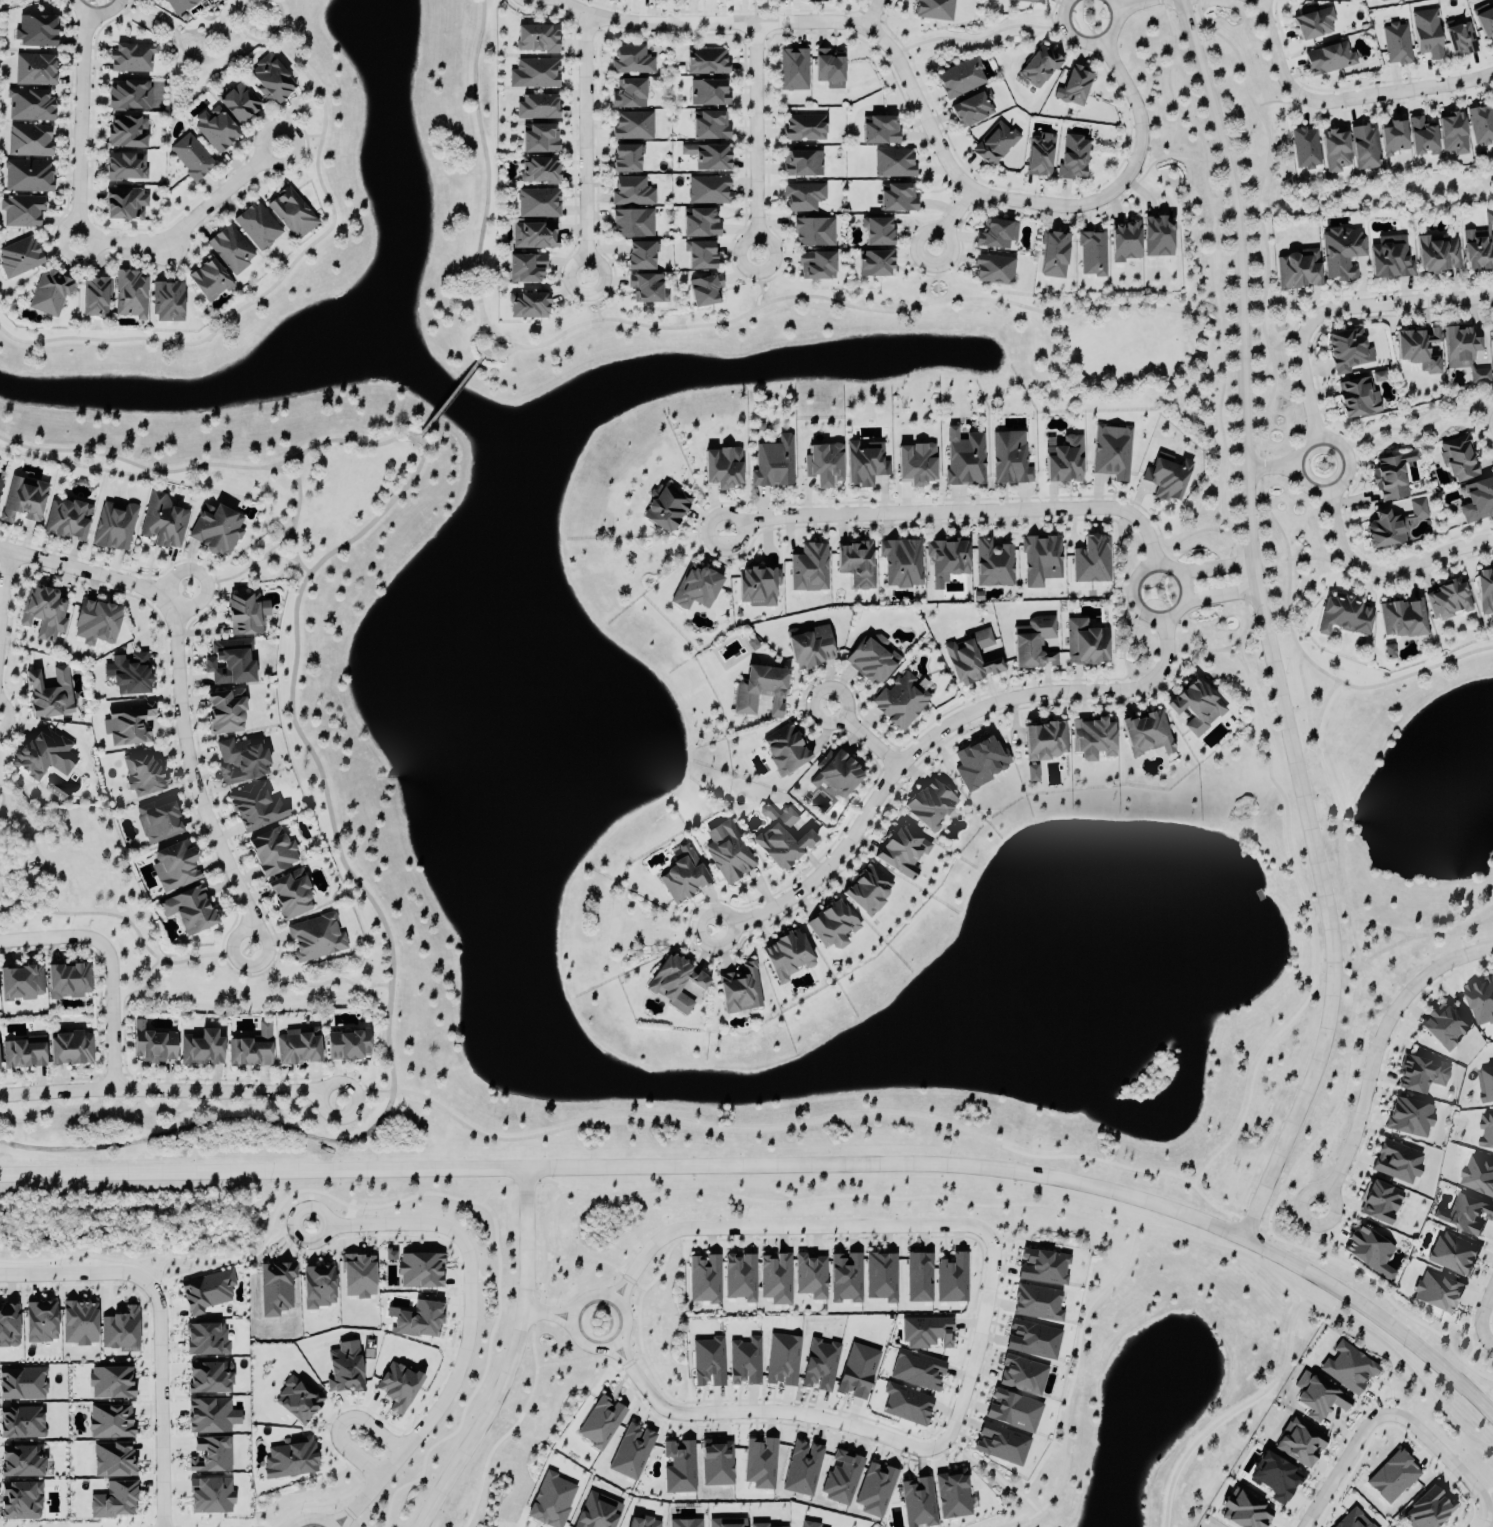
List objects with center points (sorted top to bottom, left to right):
building: (1368, 0)
building: (1383, 0)
building: (1027, 1)
road: (1182, 4)
building: (179, 5)
road: (1136, 6)
building: (933, 10)
road: (875, 14)
road: (97, 15)
building: (1485, 20)
building: (1314, 24)
building: (35, 31)
building: (1428, 34)
building: (1460, 38)
building: (536, 39)
road: (979, 39)
road: (1089, 43)
building: (1397, 44)
building: (131, 58)
building: (1329, 59)
building: (631, 61)
building: (706, 62)
building: (1039, 67)
building: (828, 69)
building: (34, 70)
building: (793, 70)
building: (534, 74)
building: (960, 79)
building: (271, 80)
building: (1074, 87)
building: (708, 93)
building: (629, 94)
building: (128, 96)
road: (1344, 100)
road: (1278, 101)
building: (237, 103)
building: (29, 106)
building: (537, 107)
road: (922, 110)
building: (971, 110)
building: (1481, 124)
building: (632, 126)
building: (710, 126)
road: (82, 127)
building: (804, 128)
building: (215, 130)
building: (879, 131)
building: (126, 132)
building: (1453, 134)
building: (1394, 138)
building: (1423, 138)
building: (539, 139)
road: (758, 140)
building: (29, 141)
building: (995, 144)
road: (588, 146)
building: (1305, 148)
building: (1365, 148)
building: (1335, 151)
building: (1039, 154)
road: (1163, 155)
building: (190, 157)
building: (707, 157)
road: (485, 158)
building: (1073, 158)
building: (625, 159)
building: (893, 163)
building: (802, 164)
building: (125, 167)
building: (539, 170)
building: (27, 176)
building: (708, 190)
building: (632, 192)
road: (1146, 195)
building: (803, 197)
building: (897, 198)
building: (124, 204)
building: (537, 204)
building: (21, 212)
building: (291, 214)
road: (954, 221)
building: (632, 223)
road: (190, 224)
building: (699, 224)
building: (257, 227)
building: (877, 231)
building: (814, 232)
building: (996, 234)
building: (533, 236)
building: (1158, 237)
building: (1125, 242)
building: (1479, 246)
building: (230, 249)
building: (1341, 253)
building: (1438, 253)
building: (1092, 254)
building: (700, 255)
building: (1054, 255)
building: (640, 256)
building: (19, 258)
building: (1391, 258)
building: (875, 264)
building: (815, 265)
building: (525, 268)
building: (993, 270)
building: (1299, 270)
road: (936, 275)
road: (758, 279)
building: (208, 281)
building: (645, 288)
building: (704, 291)
building: (48, 294)
building: (129, 295)
building: (94, 298)
road: (593, 299)
road: (1202, 299)
road: (1313, 301)
building: (167, 302)
road: (1398, 303)
road: (849, 304)
building: (528, 306)
road: (1205, 316)
road: (1299, 316)
road: (497, 334)
road: (1285, 337)
building: (1492, 339)
road: (48, 343)
building: (1420, 350)
building: (1348, 351)
building: (1464, 353)
road: (481, 354)
road: (1306, 382)
road: (450, 396)
building: (1359, 396)
road: (1261, 420)
building: (1112, 452)
building: (964, 458)
building: (1010, 459)
road: (303, 460)
building: (1458, 460)
building: (1064, 461)
road: (288, 463)
building: (773, 464)
building: (865, 464)
building: (917, 464)
building: (823, 465)
building: (722, 468)
road: (1273, 470)
road: (151, 471)
building: (1391, 477)
building: (1167, 479)
building: (0, 480)
road: (1305, 487)
building: (22, 500)
building: (1478, 501)
building: (665, 508)
building: (1418, 509)
road: (958, 515)
building: (66, 520)
building: (163, 522)
building: (113, 526)
road: (1338, 528)
building: (215, 530)
building: (1385, 531)
road: (1322, 559)
road: (285, 560)
building: (947, 561)
building: (1041, 561)
building: (1092, 561)
building: (901, 563)
road: (260, 564)
building: (993, 564)
building: (856, 565)
road: (1421, 565)
building: (809, 569)
road: (1217, 570)
road: (204, 578)
building: (758, 587)
building: (696, 588)
building: (1485, 591)
road: (5, 593)
road: (1222, 597)
building: (1448, 601)
building: (44, 613)
road: (1141, 613)
building: (245, 615)
building: (1345, 617)
building: (1402, 620)
building: (95, 623)
road: (1265, 625)
building: (878, 641)
building: (1034, 644)
building: (1085, 644)
building: (752, 645)
building: (810, 648)
building: (1389, 652)
building: (972, 659)
building: (229, 663)
building: (870, 663)
building: (128, 674)
building: (761, 691)
road: (180, 693)
building: (48, 694)
road: (298, 698)
building: (901, 701)
road: (1283, 707)
road: (1321, 707)
building: (1195, 708)
building: (225, 712)
building: (127, 725)
building: (1147, 734)
road: (867, 739)
building: (1093, 739)
road: (935, 740)
building: (1045, 742)
building: (786, 753)
building: (43, 756)
building: (239, 762)
building: (979, 764)
building: (141, 774)
building: (1032, 774)
building: (838, 775)
road: (3, 799)
building: (255, 808)
building: (929, 809)
building: (157, 821)
building: (785, 842)
building: (902, 852)
building: (272, 853)
building: (731, 859)
building: (174, 867)
road: (2, 882)
building: (682, 882)
building: (869, 893)
building: (290, 896)
building: (189, 911)
road: (13, 918)
building: (832, 927)
building: (315, 938)
road: (141, 939)
road: (1356, 951)
building: (790, 957)
road: (111, 964)
building: (67, 982)
building: (20, 984)
building: (677, 990)
building: (742, 992)
road: (392, 1001)
building: (1481, 1001)
road: (1284, 1026)
building: (1444, 1027)
building: (152, 1046)
building: (347, 1046)
building: (70, 1049)
building: (201, 1049)
building: (297, 1049)
building: (251, 1050)
road: (1374, 1051)
building: (23, 1055)
building: (1421, 1075)
building: (1485, 1085)
road: (171, 1093)
building: (1410, 1119)
building: (1486, 1130)
road: (179, 1134)
road: (782, 1161)
building: (1397, 1162)
building: (1478, 1176)
road: (546, 1180)
building: (1380, 1202)
road: (1000, 1204)
building: (1469, 1214)
road: (1331, 1226)
road: (1011, 1228)
road: (1319, 1236)
building: (1371, 1251)
building: (1453, 1254)
building: (1044, 1267)
road: (1351, 1267)
building: (419, 1270)
road: (74, 1272)
building: (357, 1276)
building: (810, 1276)
building: (740, 1277)
building: (881, 1277)
building: (845, 1278)
building: (918, 1278)
building: (704, 1279)
building: (775, 1279)
building: (952, 1279)
building: (318, 1287)
building: (275, 1288)
building: (206, 1292)
building: (1437, 1292)
building: (1037, 1303)
road: (1484, 1304)
road: (622, 1307)
road: (548, 1313)
building: (417, 1319)
road: (984, 1321)
building: (40, 1322)
building: (78, 1323)
building: (8, 1325)
road: (467, 1326)
building: (120, 1331)
building: (926, 1333)
road: (1485, 1337)
building: (205, 1339)
building: (1033, 1340)
road: (511, 1358)
building: (782, 1360)
building: (744, 1362)
building: (708, 1363)
building: (820, 1365)
building: (344, 1368)
building: (1348, 1368)
building: (917, 1370)
building: (857, 1371)
building: (1022, 1375)
building: (209, 1377)
building: (110, 1382)
building: (22, 1384)
road: (1071, 1385)
building: (398, 1387)
building: (1318, 1397)
building: (297, 1399)
road: (159, 1404)
building: (906, 1405)
road: (1234, 1410)
building: (1013, 1411)
building: (210, 1416)
building: (110, 1421)
road: (340, 1421)
building: (601, 1422)
building: (21, 1423)
building: (1300, 1443)
building: (1001, 1444)
building: (631, 1452)
road: (1441, 1453)
building: (209, 1455)
building: (112, 1459)
building: (289, 1460)
building: (21, 1461)
building: (716, 1464)
building: (760, 1464)
building: (679, 1467)
road: (1340, 1468)
building: (802, 1469)
road: (994, 1472)
building: (1393, 1477)
building: (841, 1478)
building: (1275, 1478)
building: (875, 1490)
building: (953, 1495)
building: (210, 1496)
building: (20, 1501)
building: (113, 1501)
building: (551, 1501)
building: (918, 1502)
building: (1428, 1510)
building: (1245, 1511)
building: (597, 1512)
road: (312, 1518)
road: (1485, 1519)
building: (1353, 1520)
building: (685, 1523)
building: (715, 1523)
building: (759, 1525)

